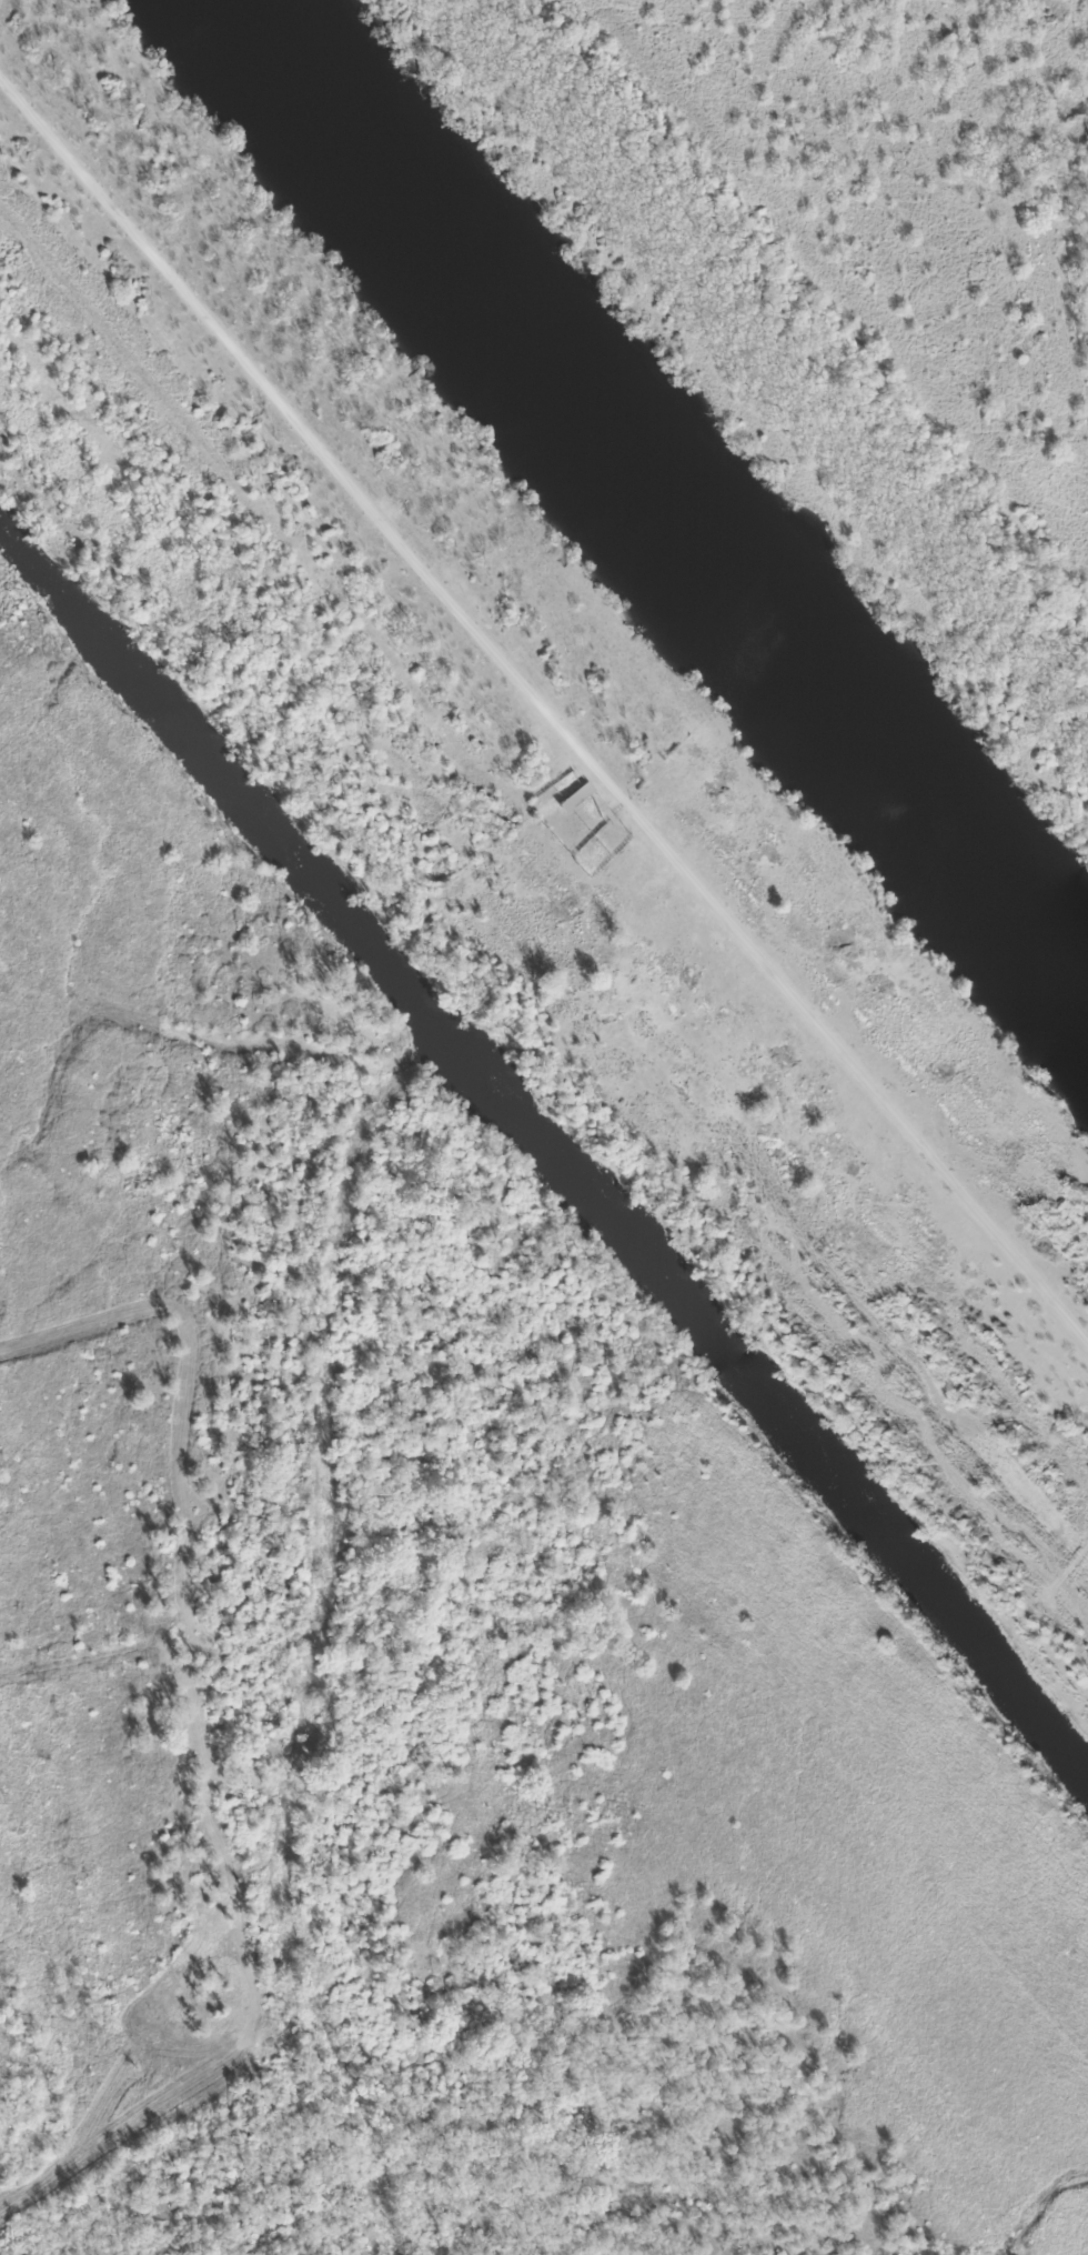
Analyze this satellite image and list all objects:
road: (543, 703)
building: (568, 801)

